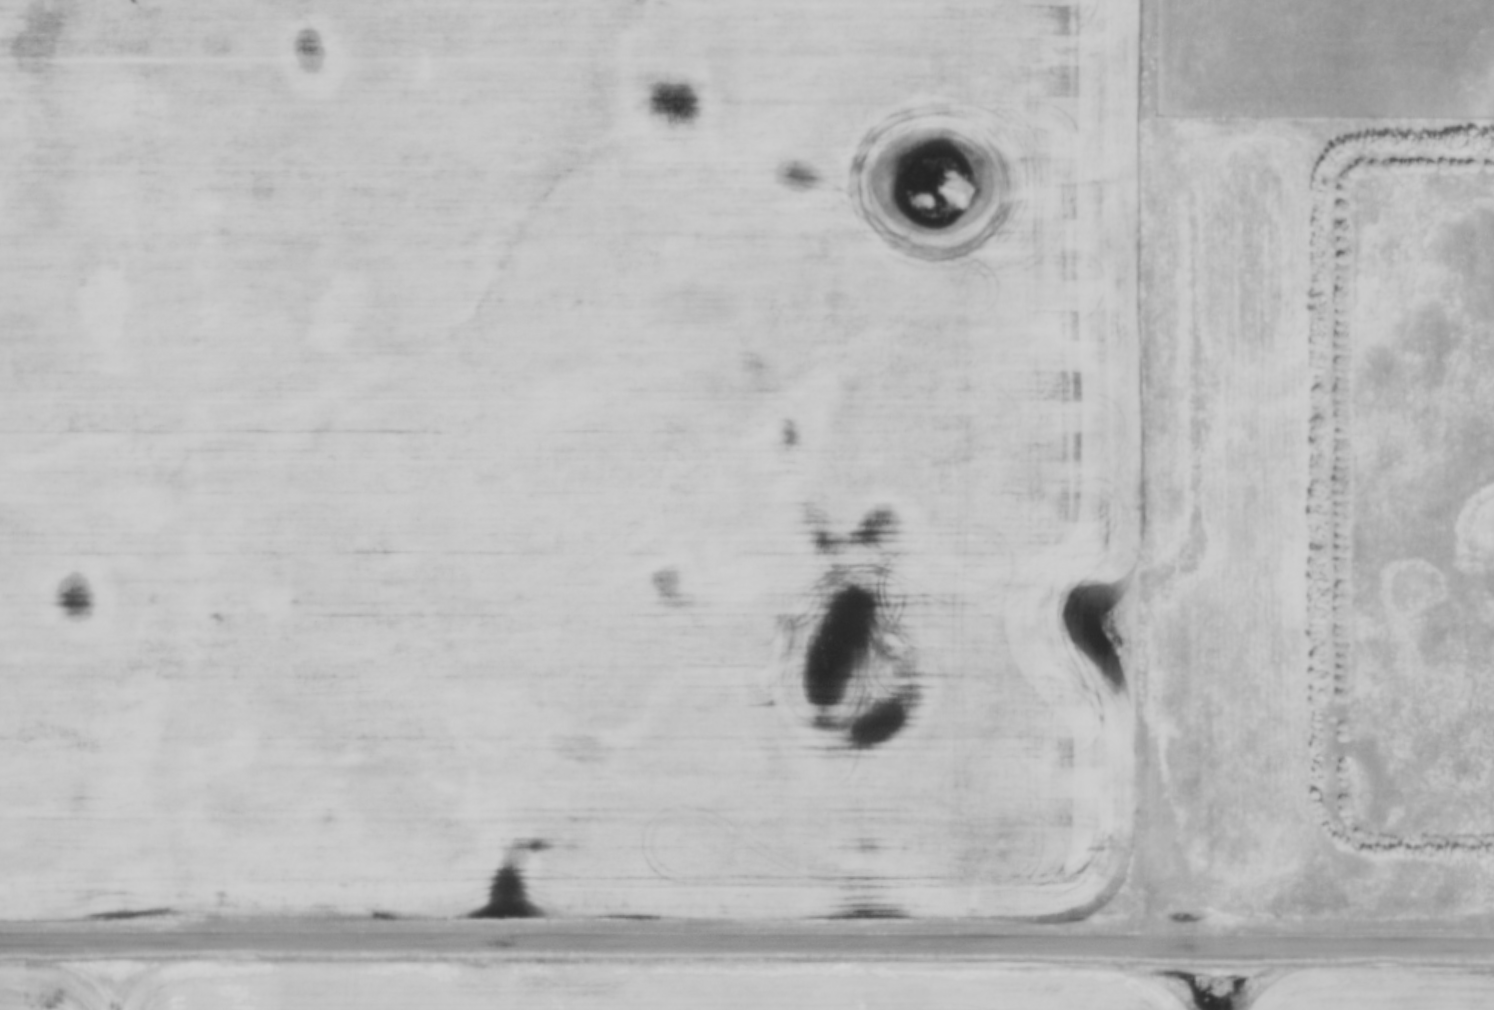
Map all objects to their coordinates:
road: (747, 934)

